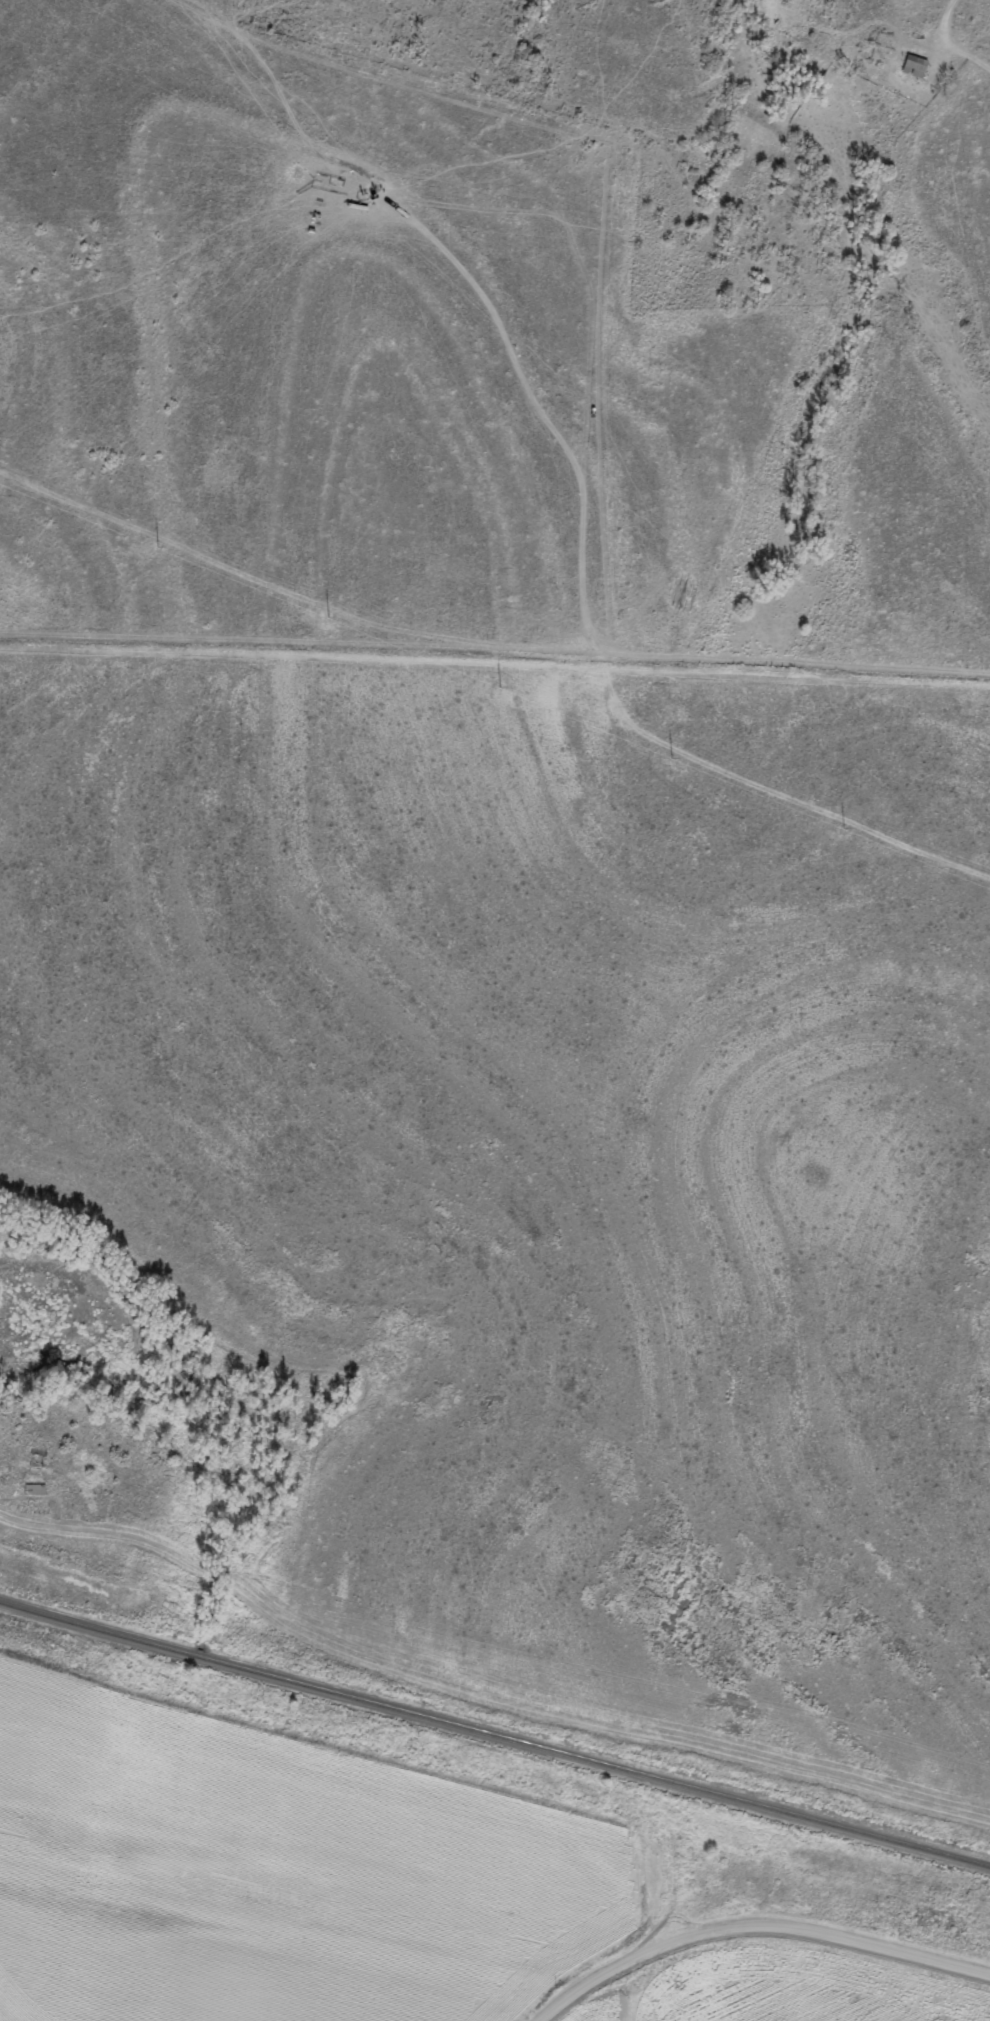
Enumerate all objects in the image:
road: (942, 23)
building: (915, 67)
building: (36, 1490)
railway: (495, 1745)
road: (760, 1926)
airport: (828, 2004)

